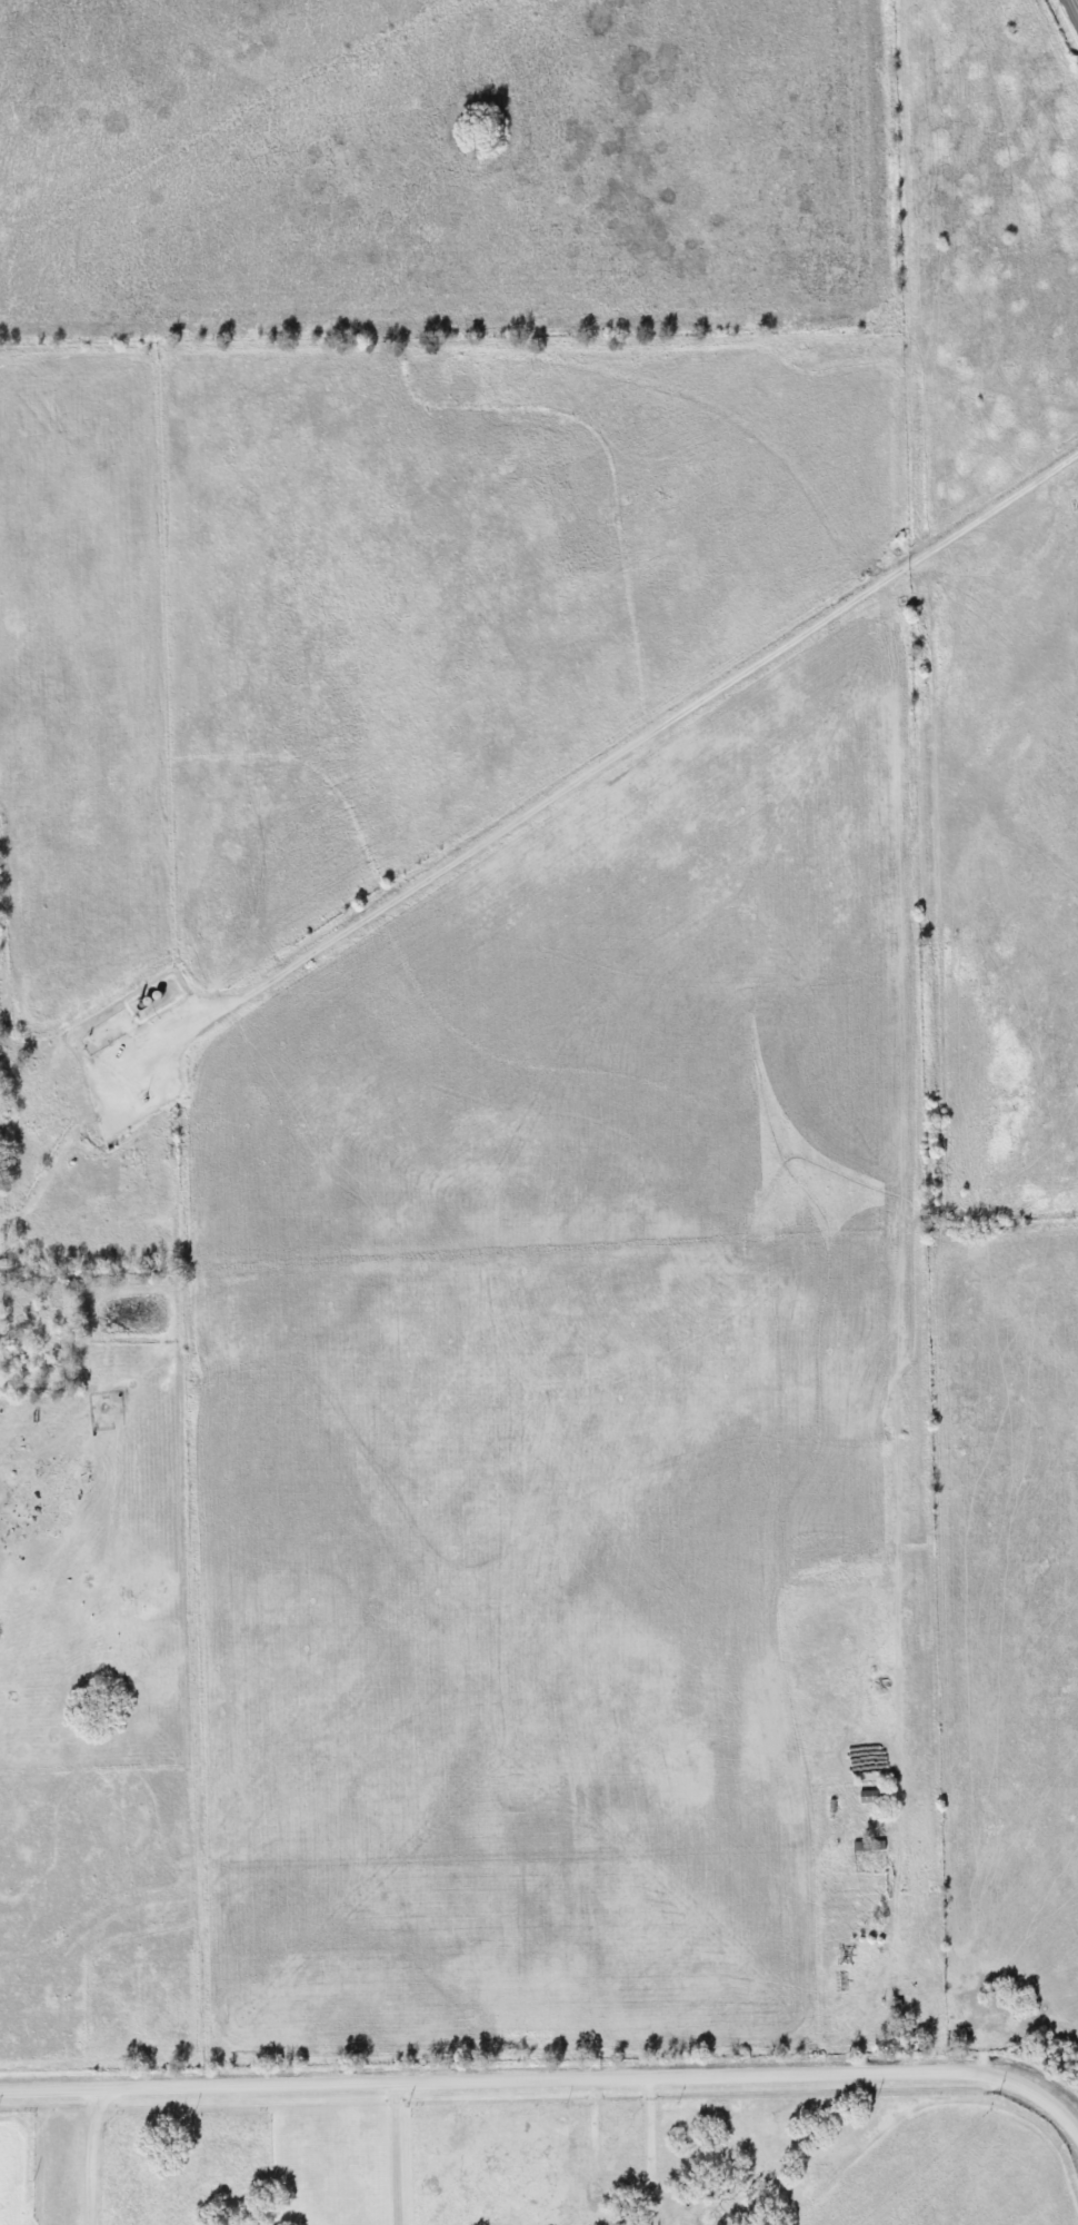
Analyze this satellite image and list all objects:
building: (865, 1796)
building: (864, 1845)
road: (549, 2082)
road: (392, 2155)
road: (87, 2158)

